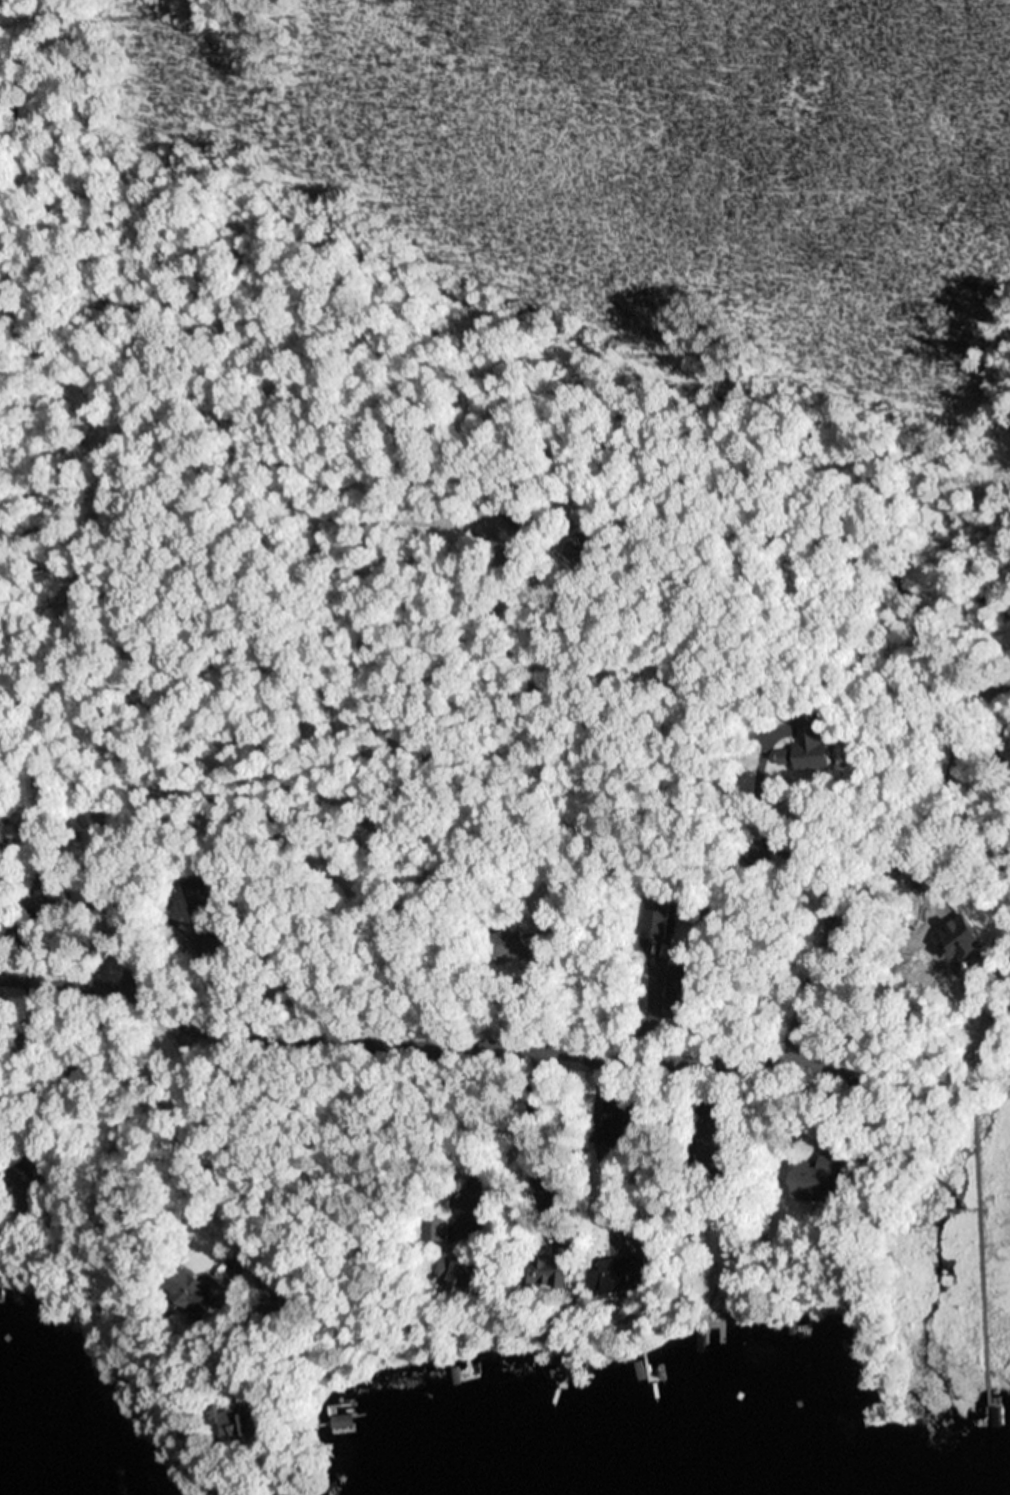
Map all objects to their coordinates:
building: (526, 519)
building: (587, 552)
building: (811, 748)
building: (736, 774)
building: (740, 827)
building: (757, 855)
road: (899, 872)
building: (552, 878)
road: (120, 879)
building: (51, 884)
building: (201, 907)
building: (660, 916)
building: (547, 937)
building: (511, 946)
building: (221, 948)
building: (685, 985)
road: (431, 1044)
building: (35, 1047)
building: (724, 1151)
building: (817, 1180)
building: (27, 1185)
building: (566, 1193)
building: (436, 1228)
building: (554, 1270)
building: (467, 1276)
building: (199, 1291)
building: (294, 1298)
building: (728, 1308)
building: (239, 1422)
building: (343, 1423)

